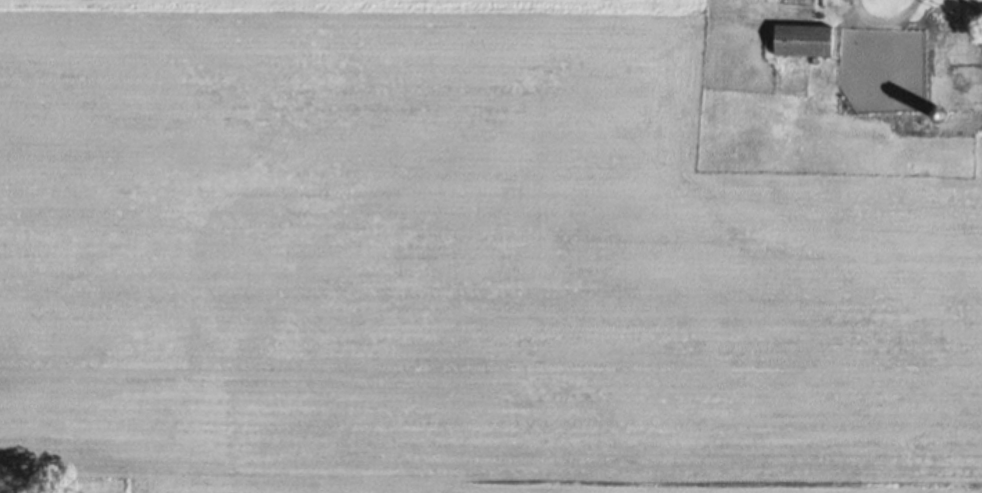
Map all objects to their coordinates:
road: (882, 20)
building: (801, 38)
building: (919, 56)

